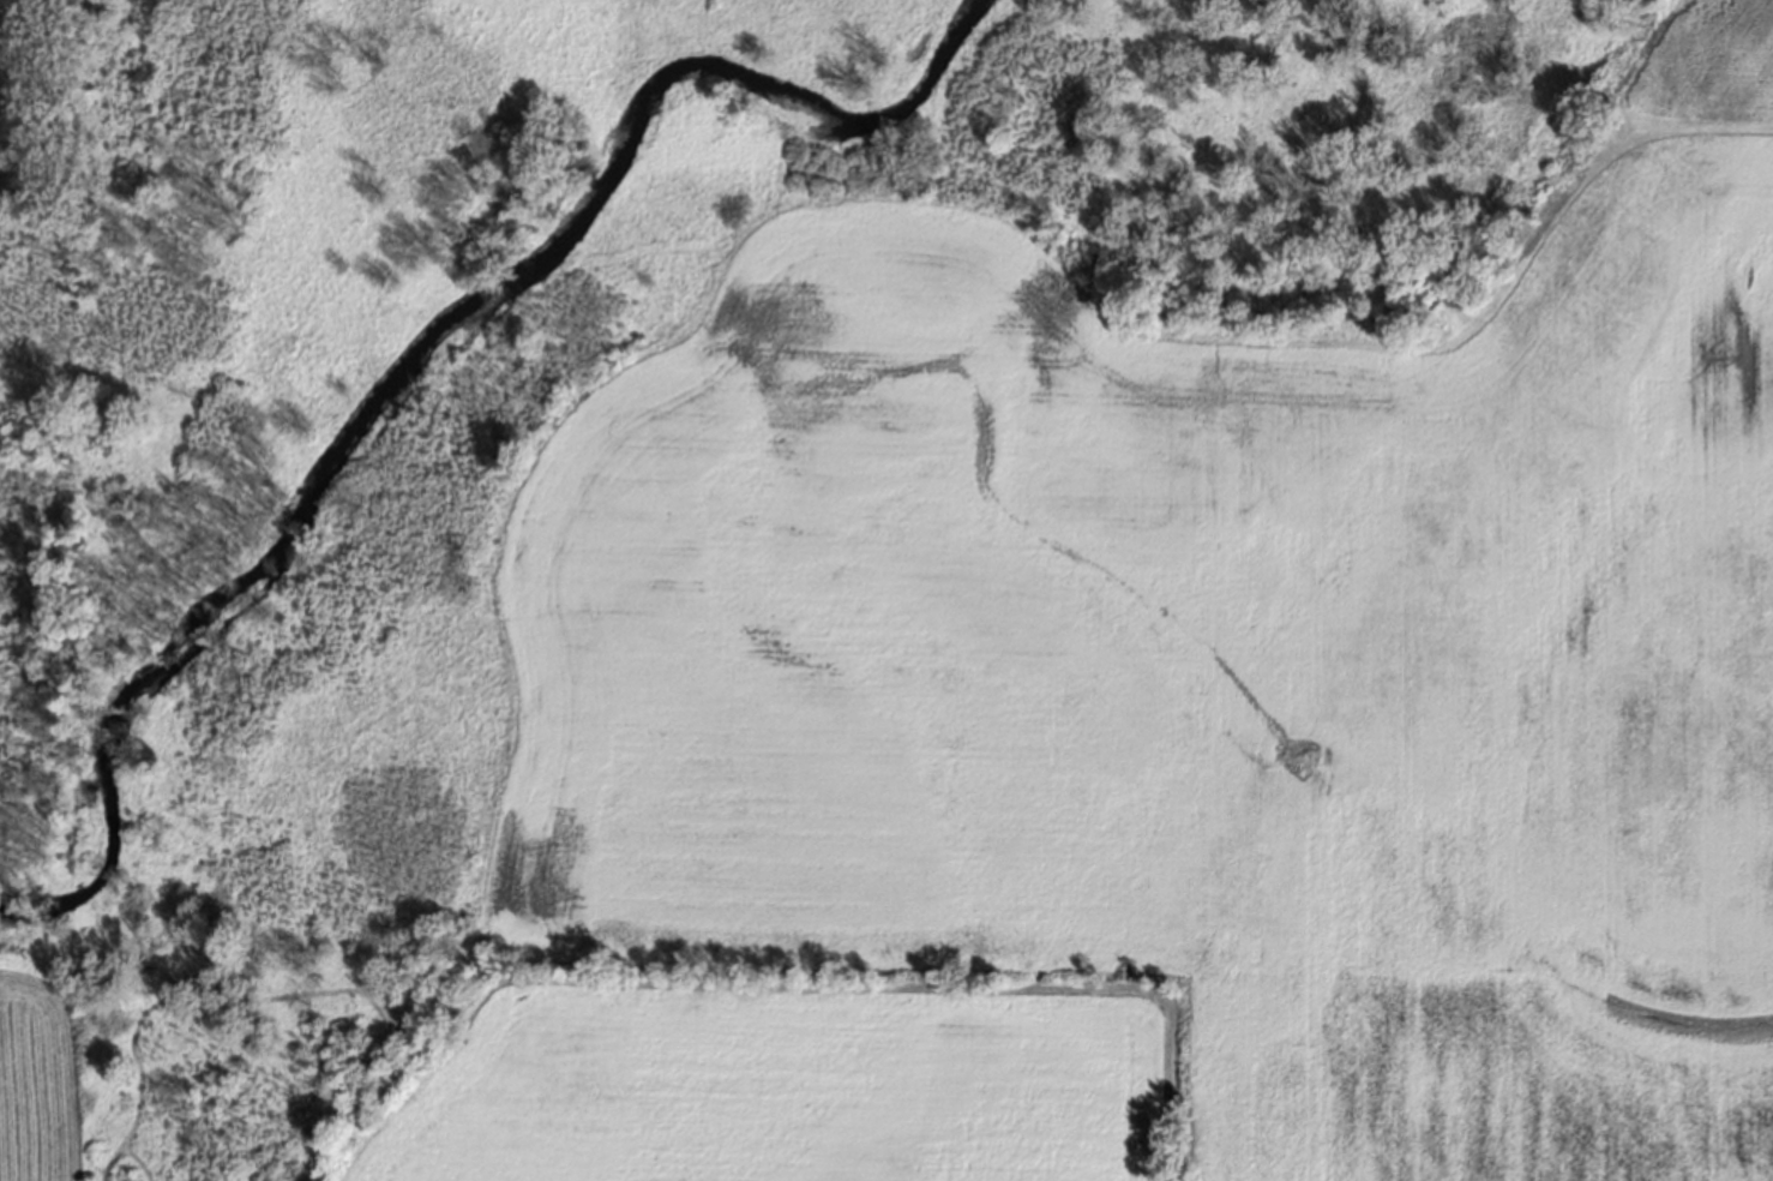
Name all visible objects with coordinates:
river: (757, 94)
river: (268, 546)

